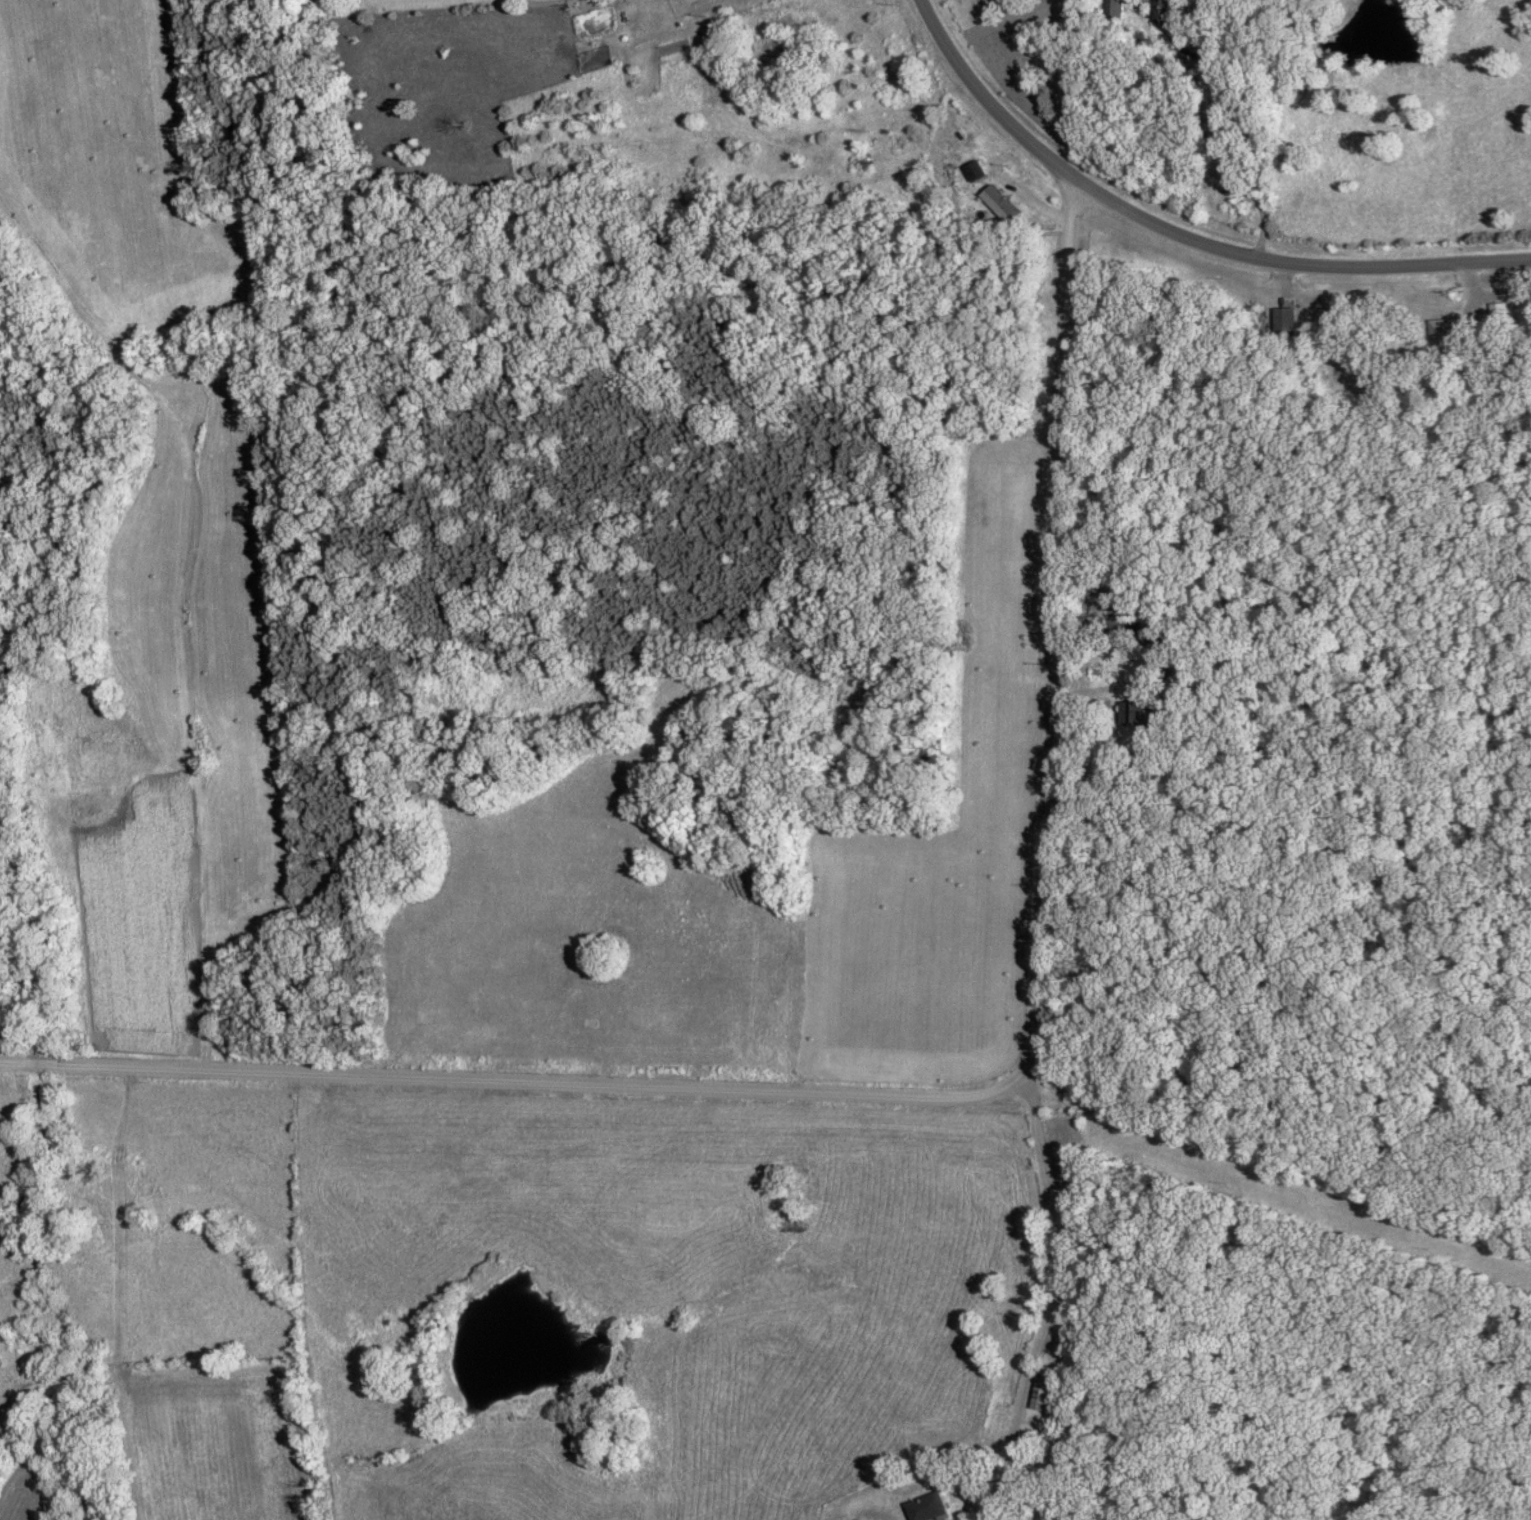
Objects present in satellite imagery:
building: (1114, 10)
building: (1167, 11)
road: (1220, 146)
road: (1179, 237)
building: (1522, 313)
building: (1496, 317)
building: (1285, 323)
building: (1443, 331)
road: (1114, 688)
road: (965, 1094)
road: (1049, 1299)
building: (1047, 1390)
building: (1045, 1455)
building: (928, 1508)

